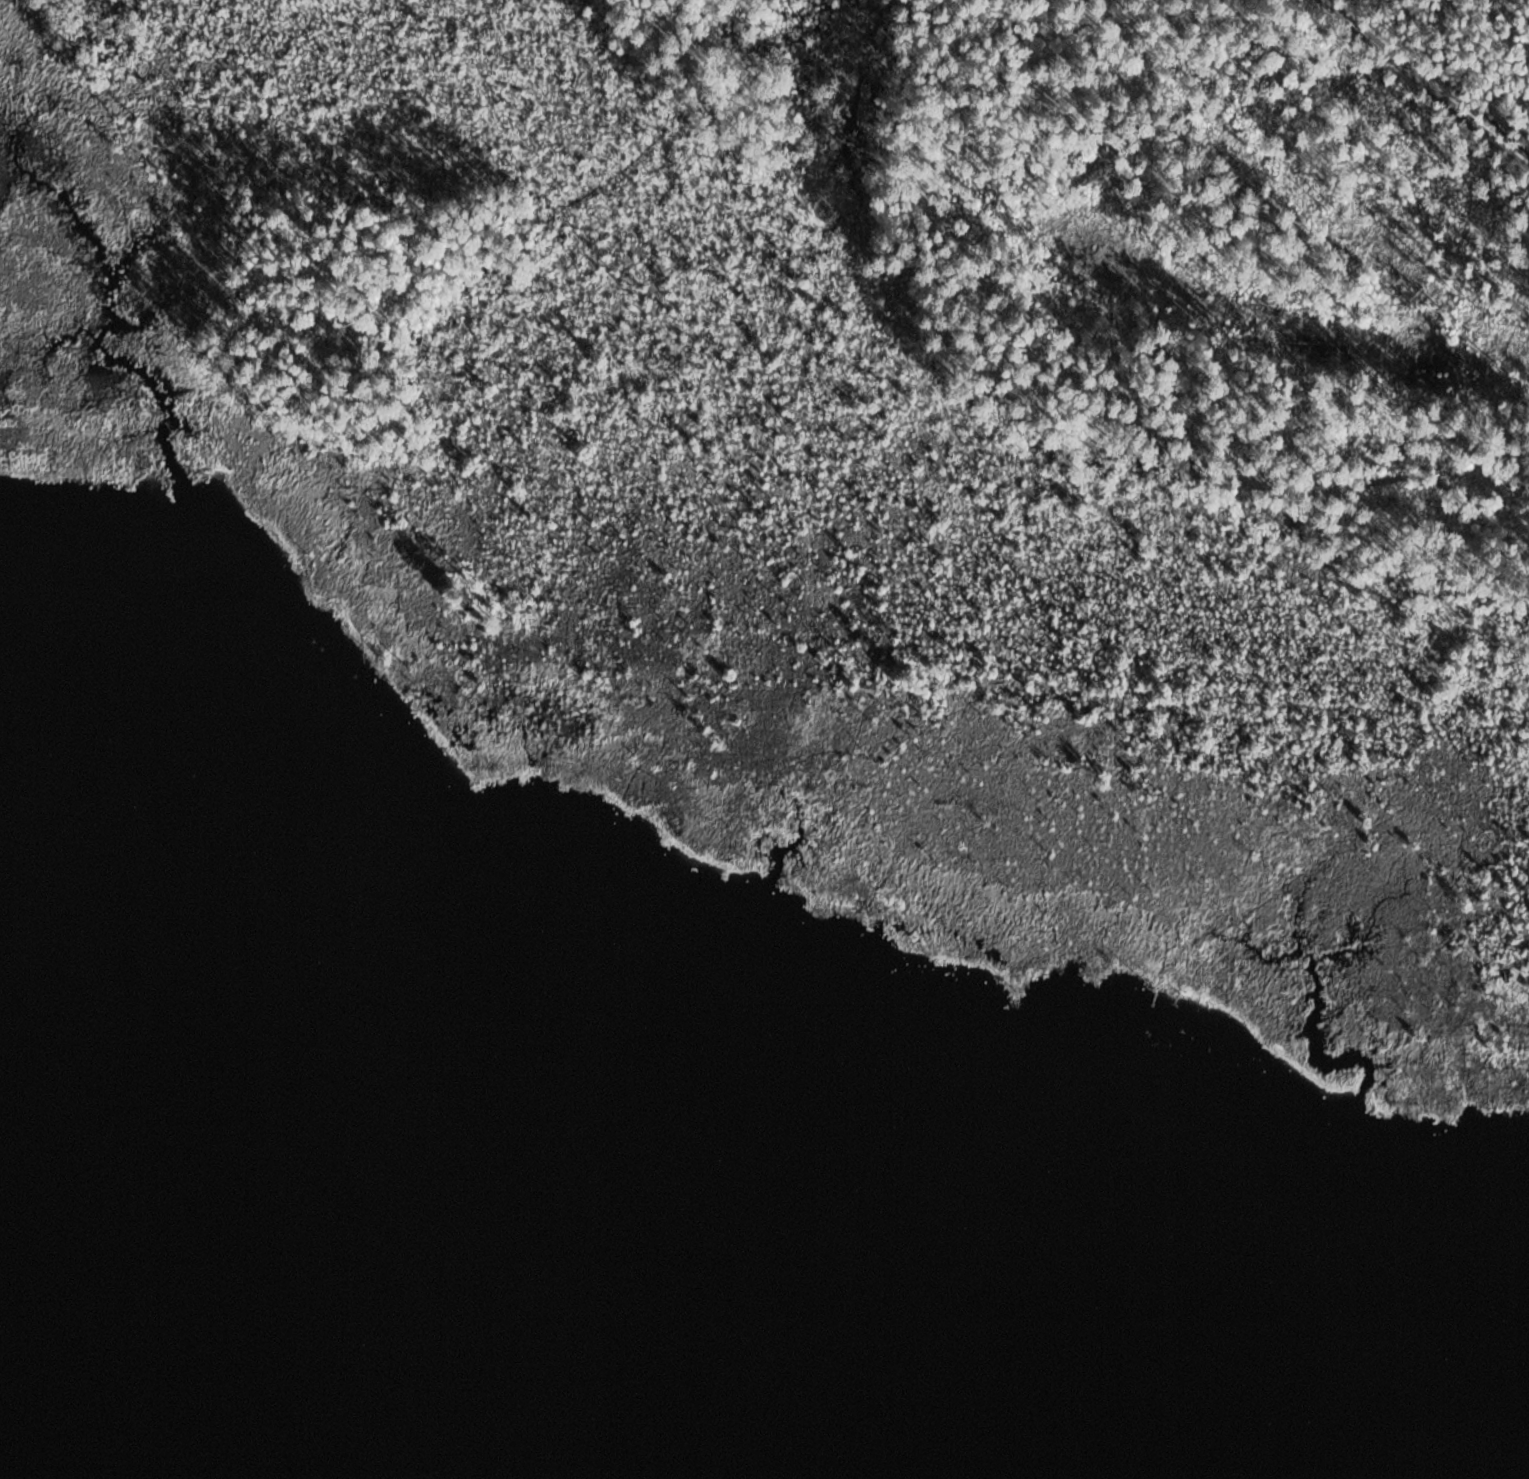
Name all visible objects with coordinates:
road: (1427, 84)

